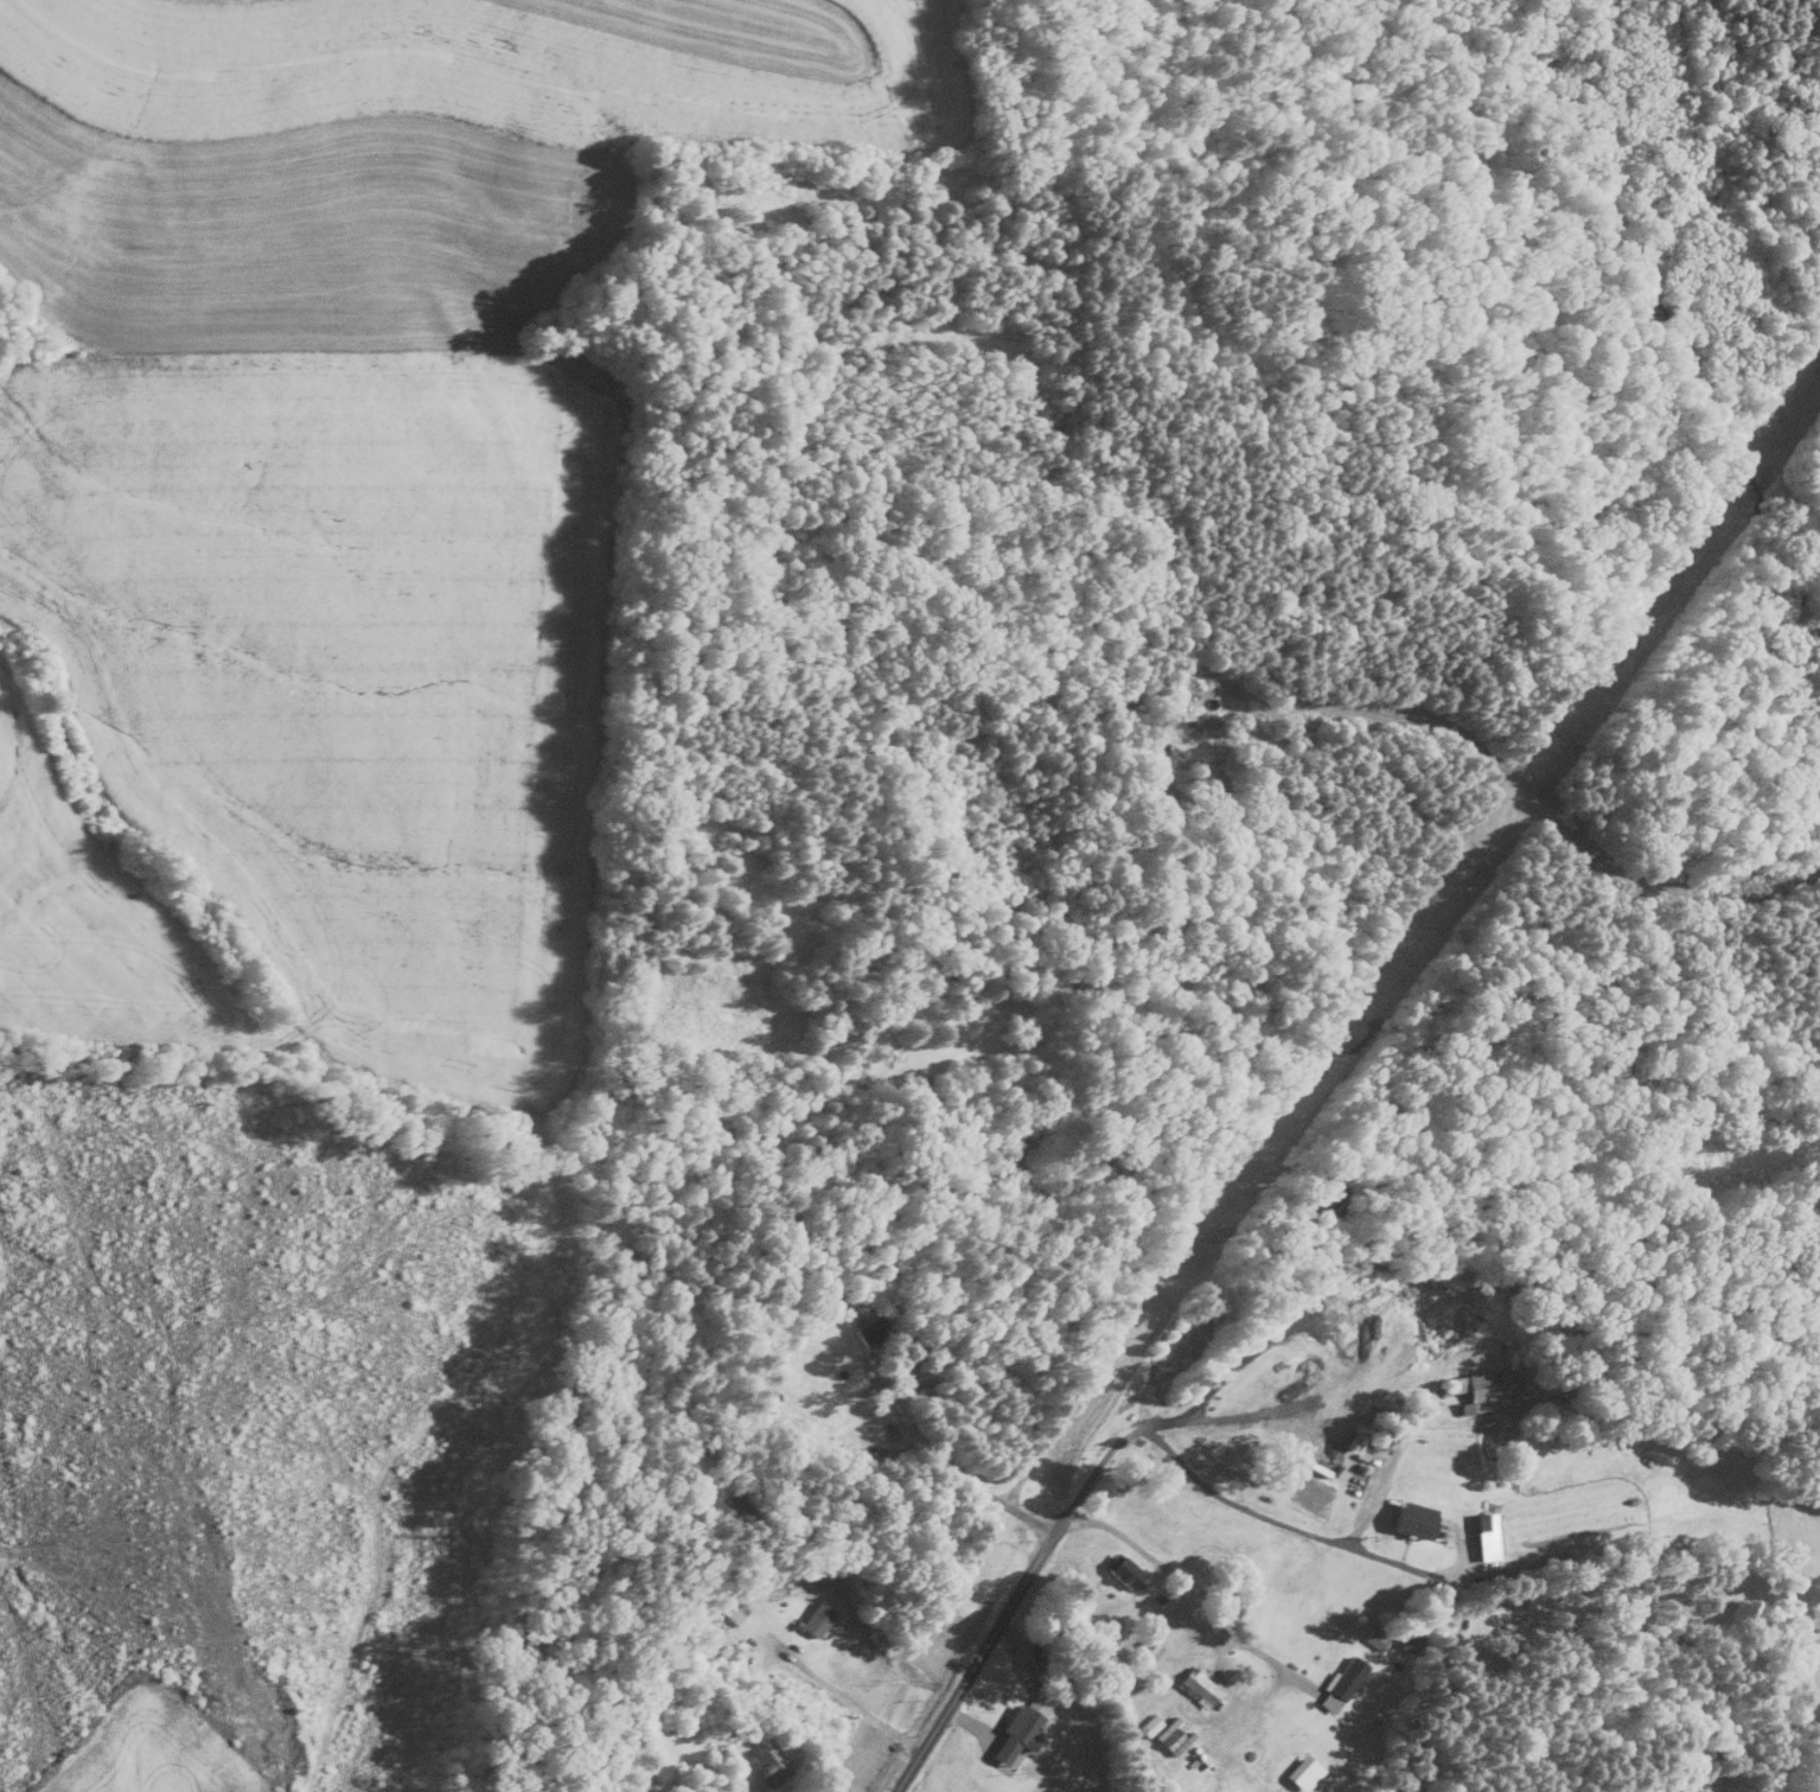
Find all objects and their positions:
building: (1177, 722)
building: (1206, 725)
road: (1560, 822)
building: (868, 1332)
building: (1482, 1389)
road: (1388, 1465)
road: (943, 1466)
road: (1253, 1503)
building: (1411, 1519)
building: (1483, 1536)
building: (1123, 1569)
road: (1186, 1581)
road: (1008, 1598)
building: (727, 1611)
building: (815, 1618)
building: (1372, 1637)
building: (1407, 1638)
building: (1339, 1682)
building: (1195, 1685)
road: (849, 1699)
building: (1148, 1723)
building: (1015, 1730)
building: (1170, 1736)
building: (768, 1762)
building: (1301, 1771)
building: (729, 1774)

